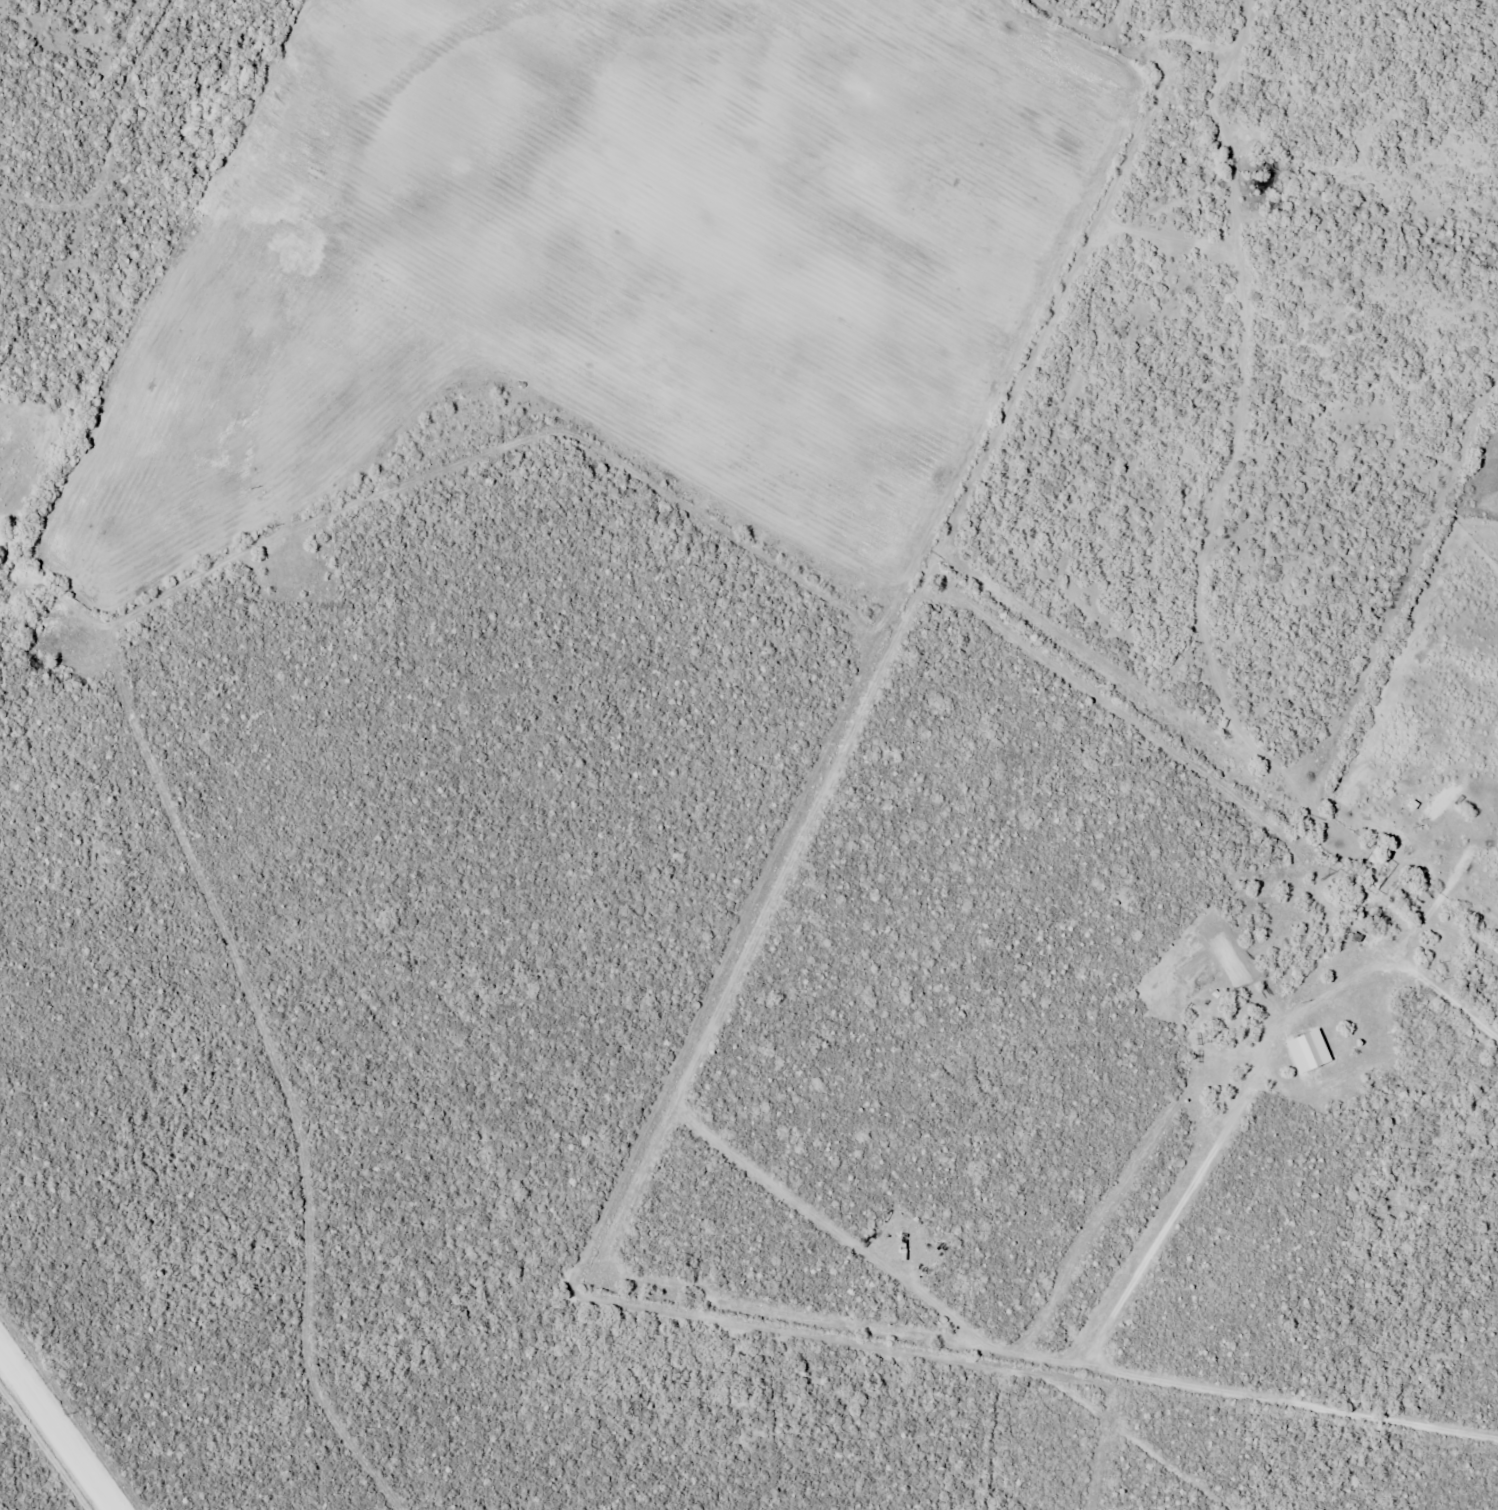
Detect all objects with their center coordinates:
building: (1434, 801)
road: (54, 1433)

